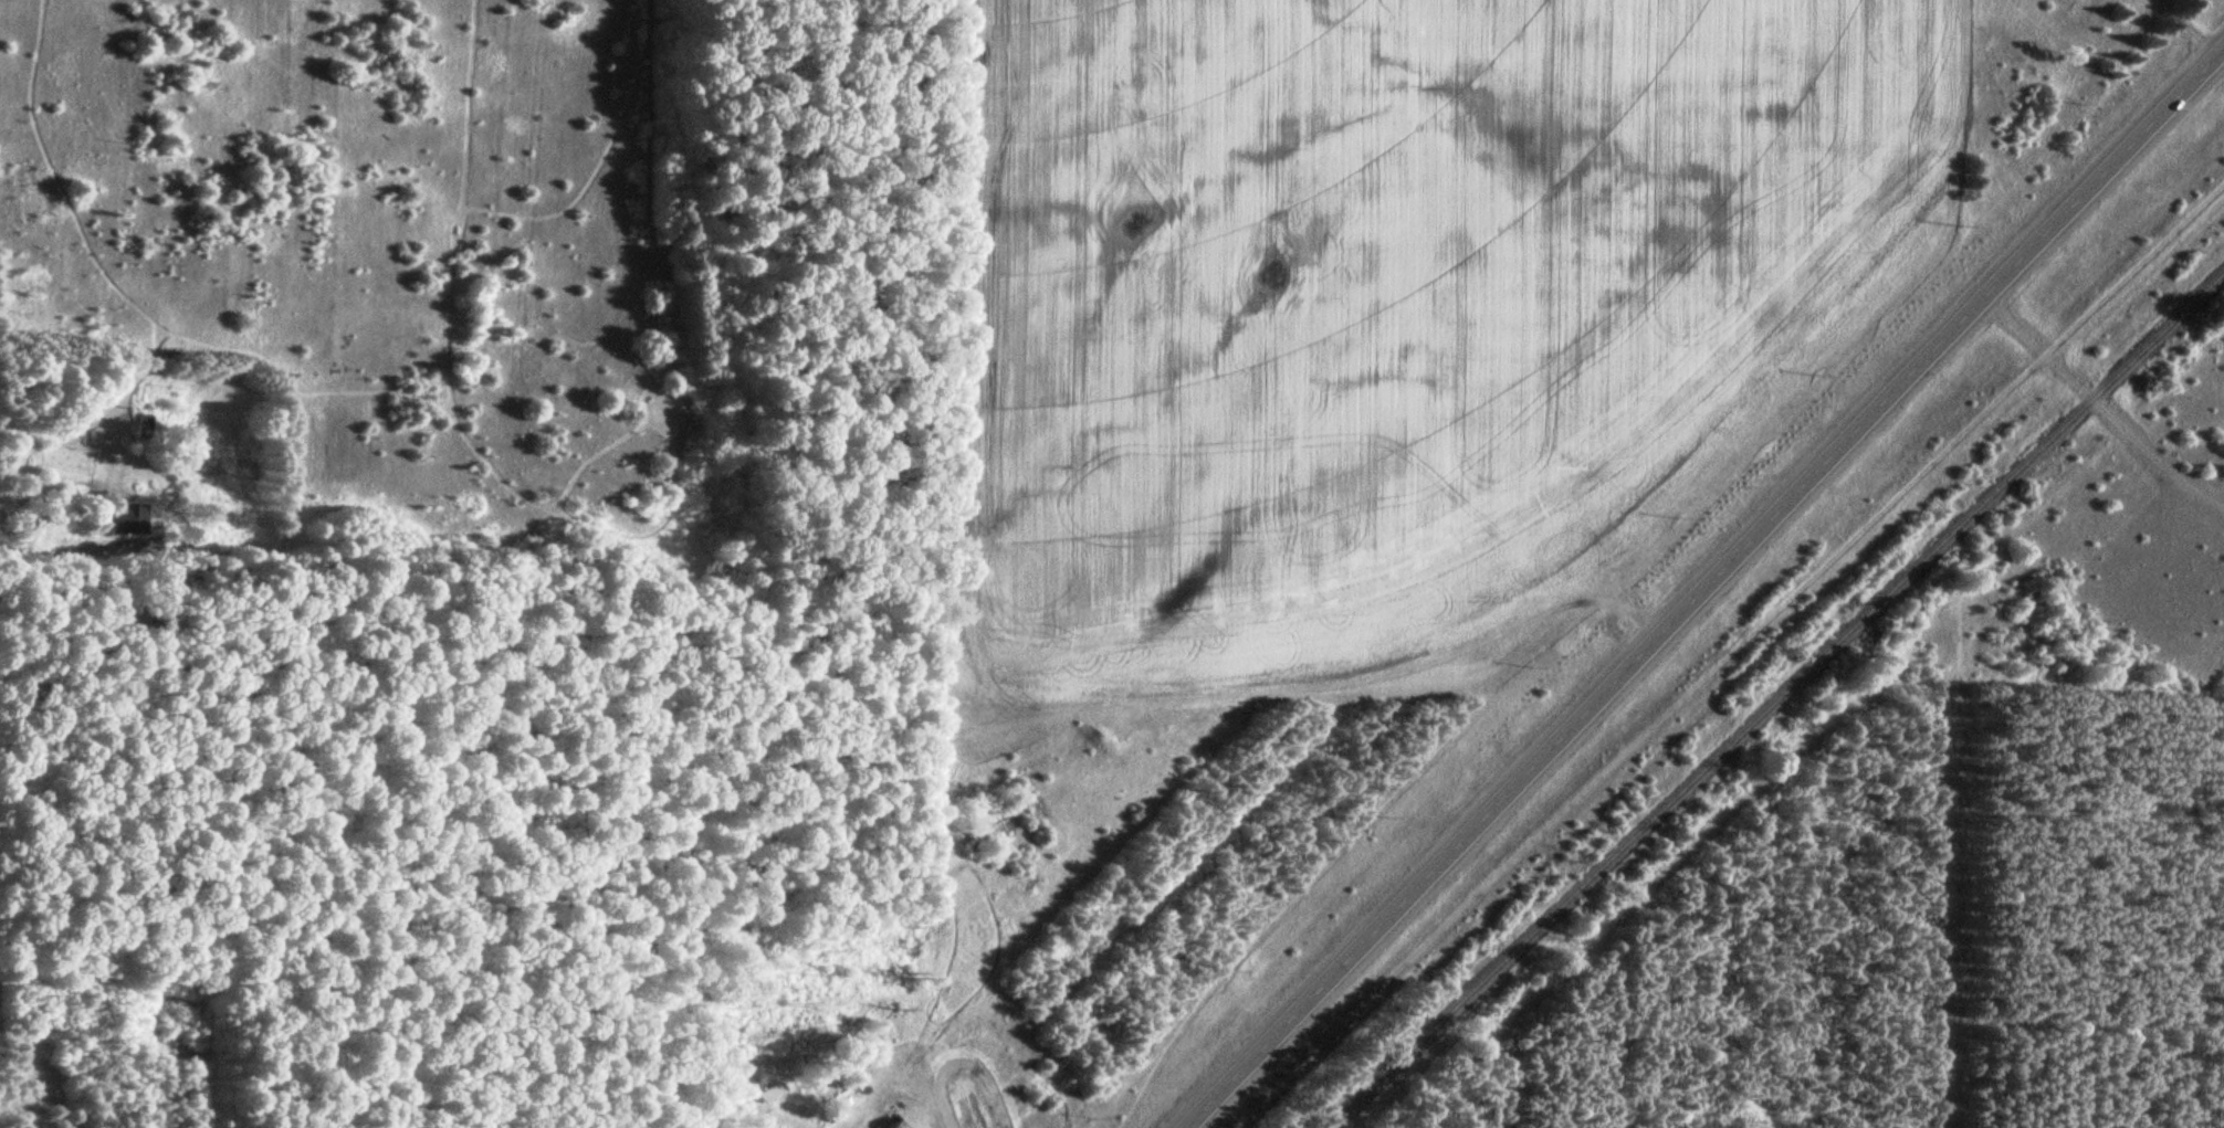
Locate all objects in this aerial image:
road: (2080, 387)
building: (143, 424)
building: (126, 518)
road: (1703, 586)
road: (1732, 647)
railway: (1774, 698)

